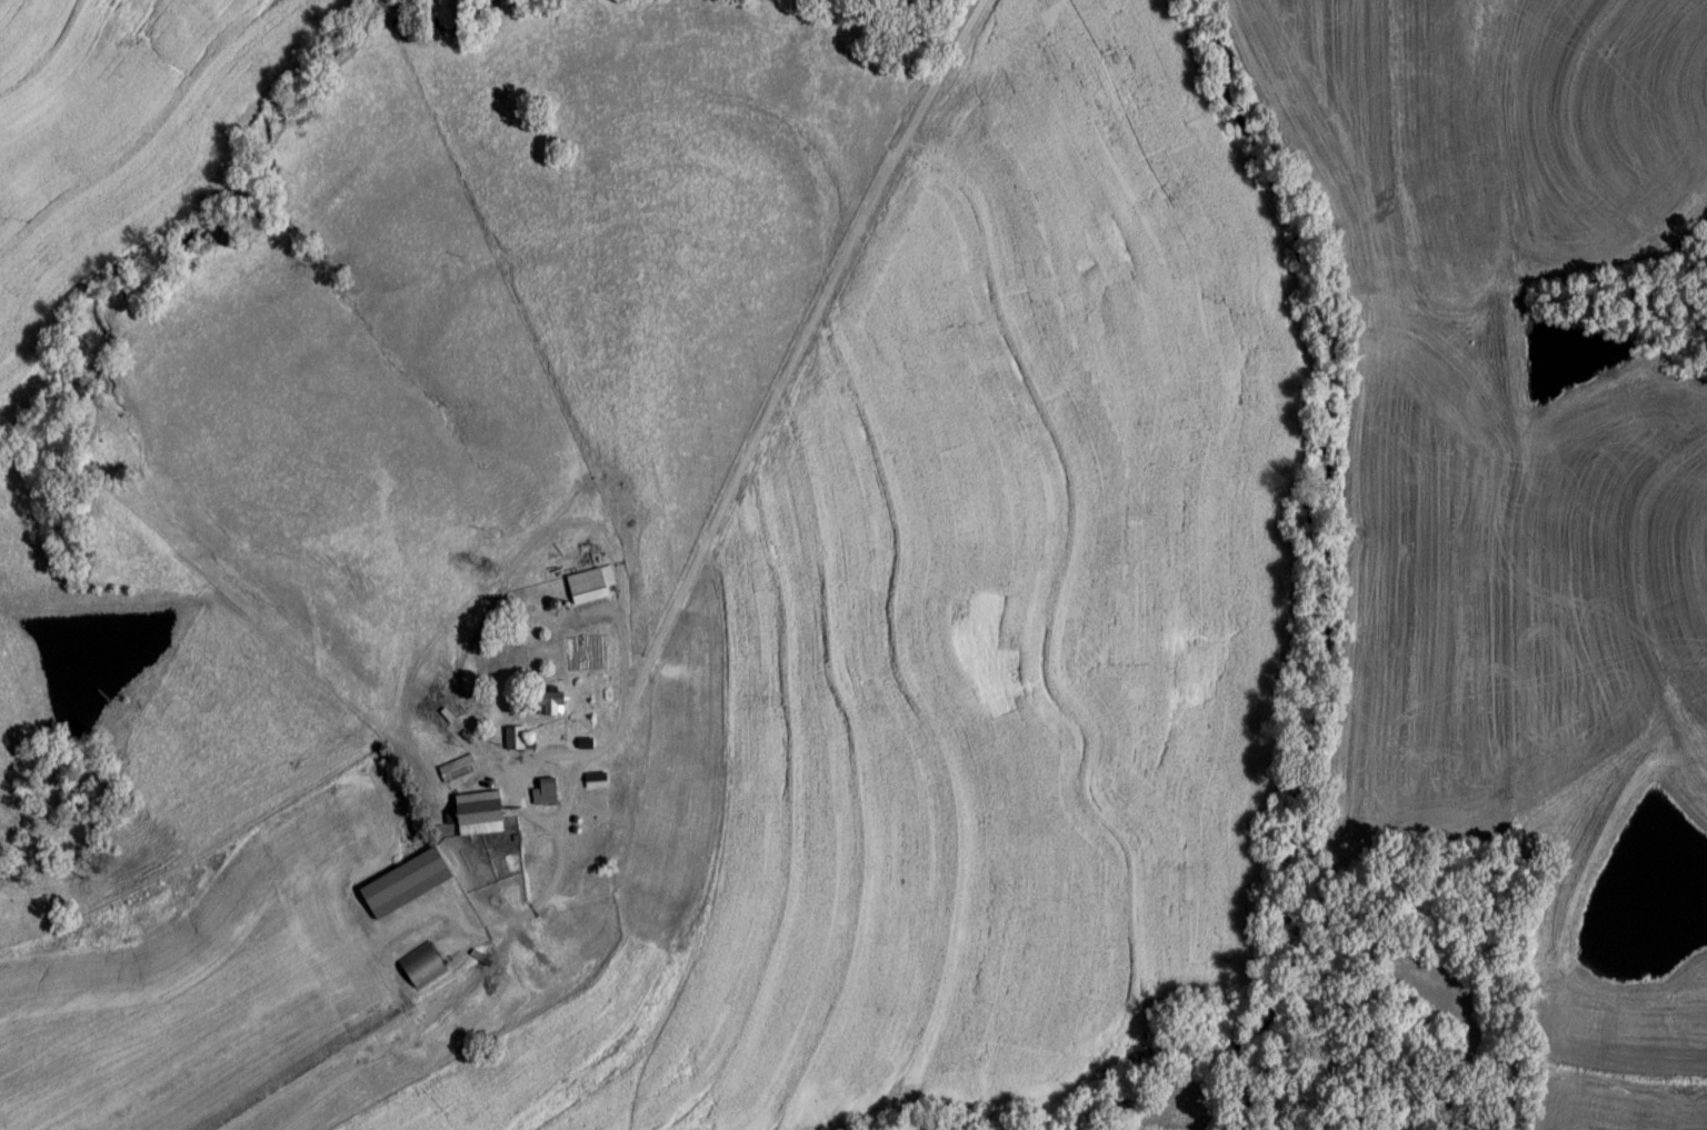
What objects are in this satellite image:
building: (593, 587)
building: (557, 706)
building: (517, 740)
building: (588, 746)
building: (458, 771)
building: (600, 782)
building: (549, 793)
building: (482, 816)
building: (409, 886)
building: (427, 964)

